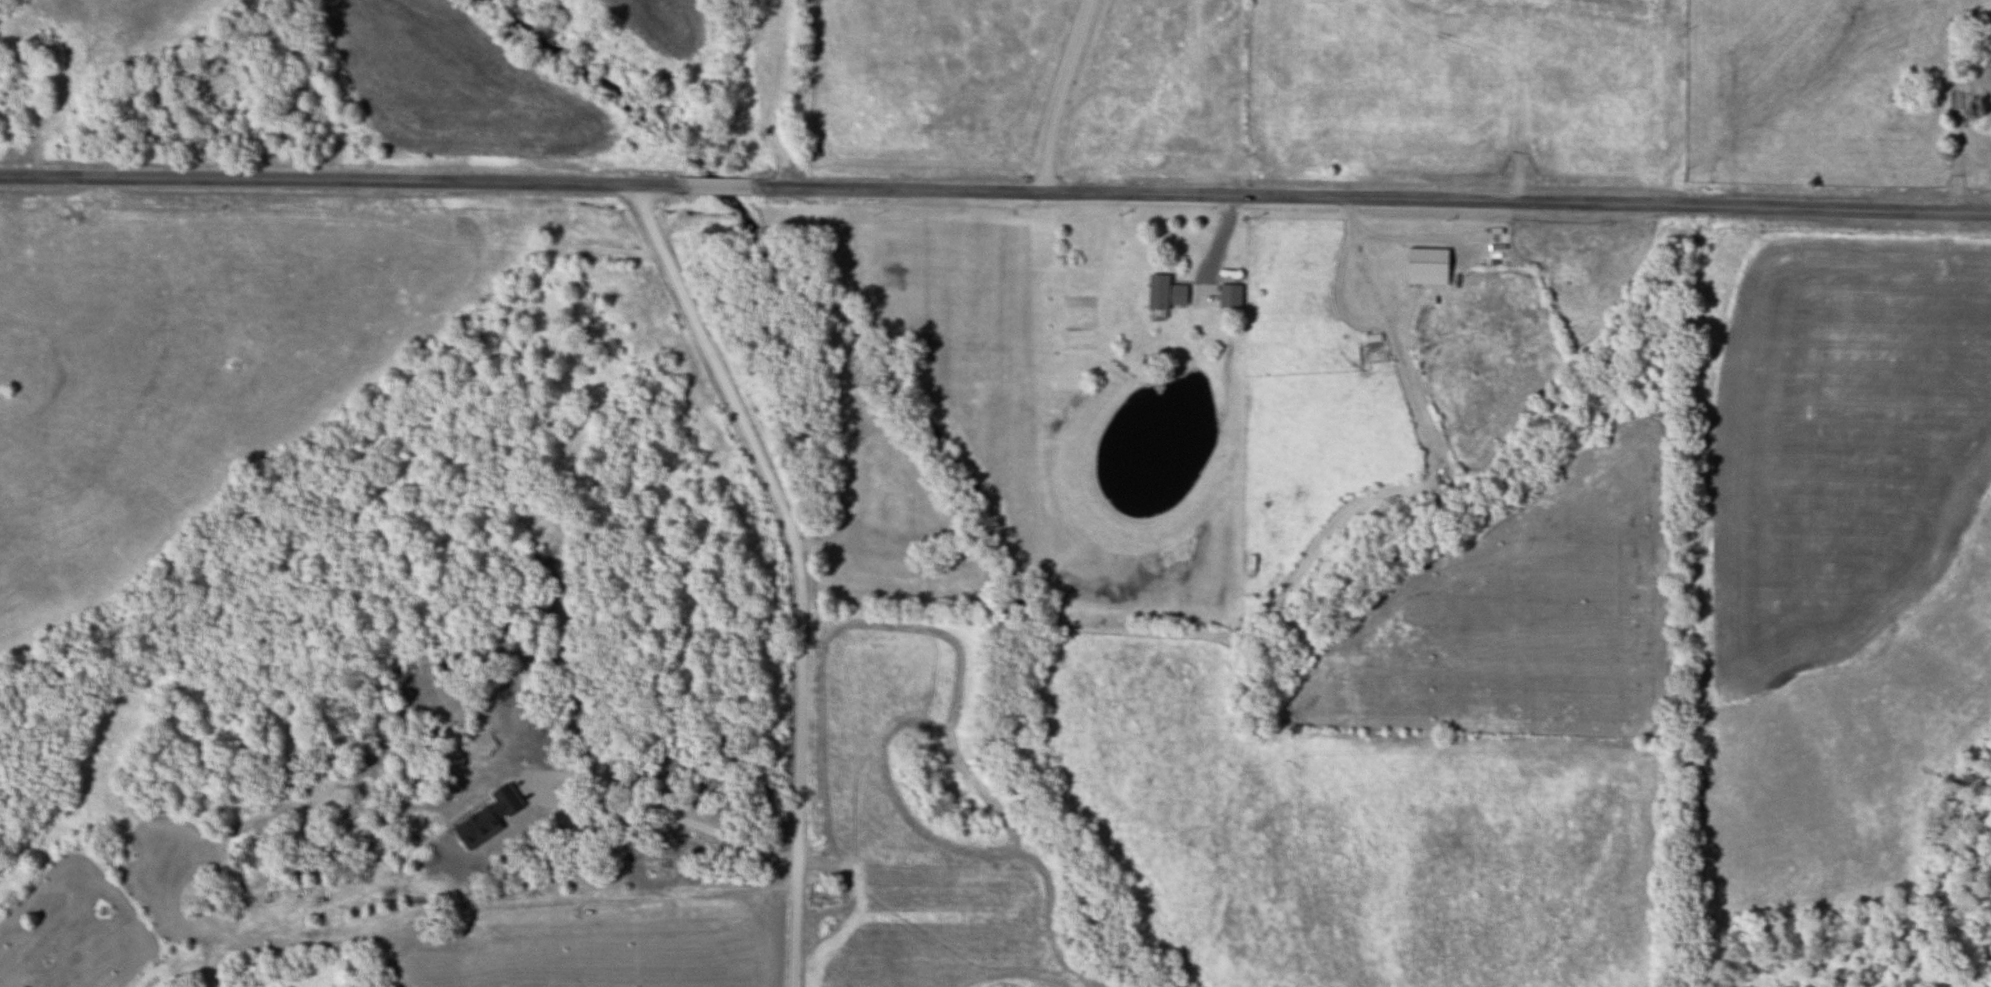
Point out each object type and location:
road: (995, 190)
building: (1425, 267)
building: (1228, 290)
building: (1163, 294)
road: (799, 568)
building: (822, 896)

